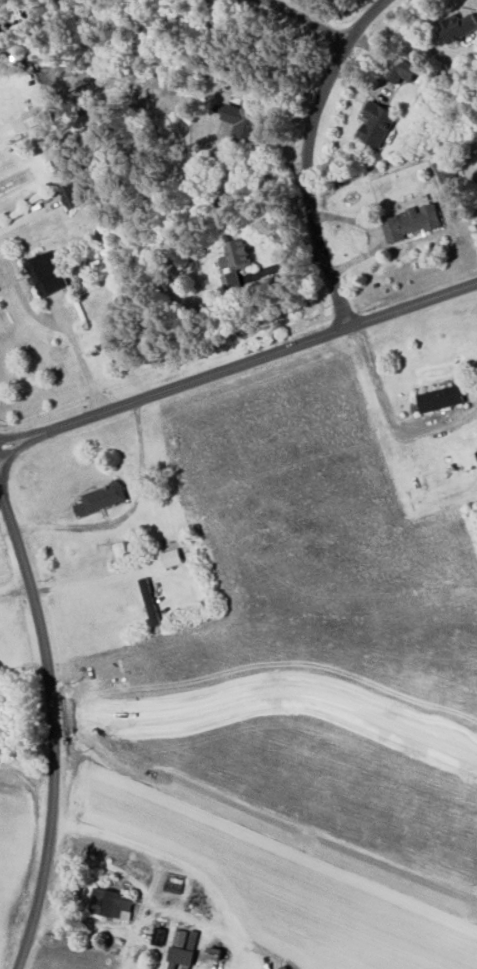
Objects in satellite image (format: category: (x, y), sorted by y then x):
road: (305, 18)
building: (459, 27)
building: (404, 70)
building: (35, 118)
building: (245, 120)
building: (378, 124)
road: (305, 155)
building: (446, 171)
building: (76, 194)
building: (412, 222)
building: (236, 263)
building: (50, 274)
road: (62, 323)
road: (238, 365)
building: (441, 399)
road: (391, 417)
building: (102, 499)
road: (125, 516)
building: (173, 558)
road: (80, 581)
road: (14, 590)
building: (150, 601)
road: (52, 730)
building: (174, 884)
road: (158, 896)
building: (112, 903)
road: (101, 926)
building: (181, 951)

